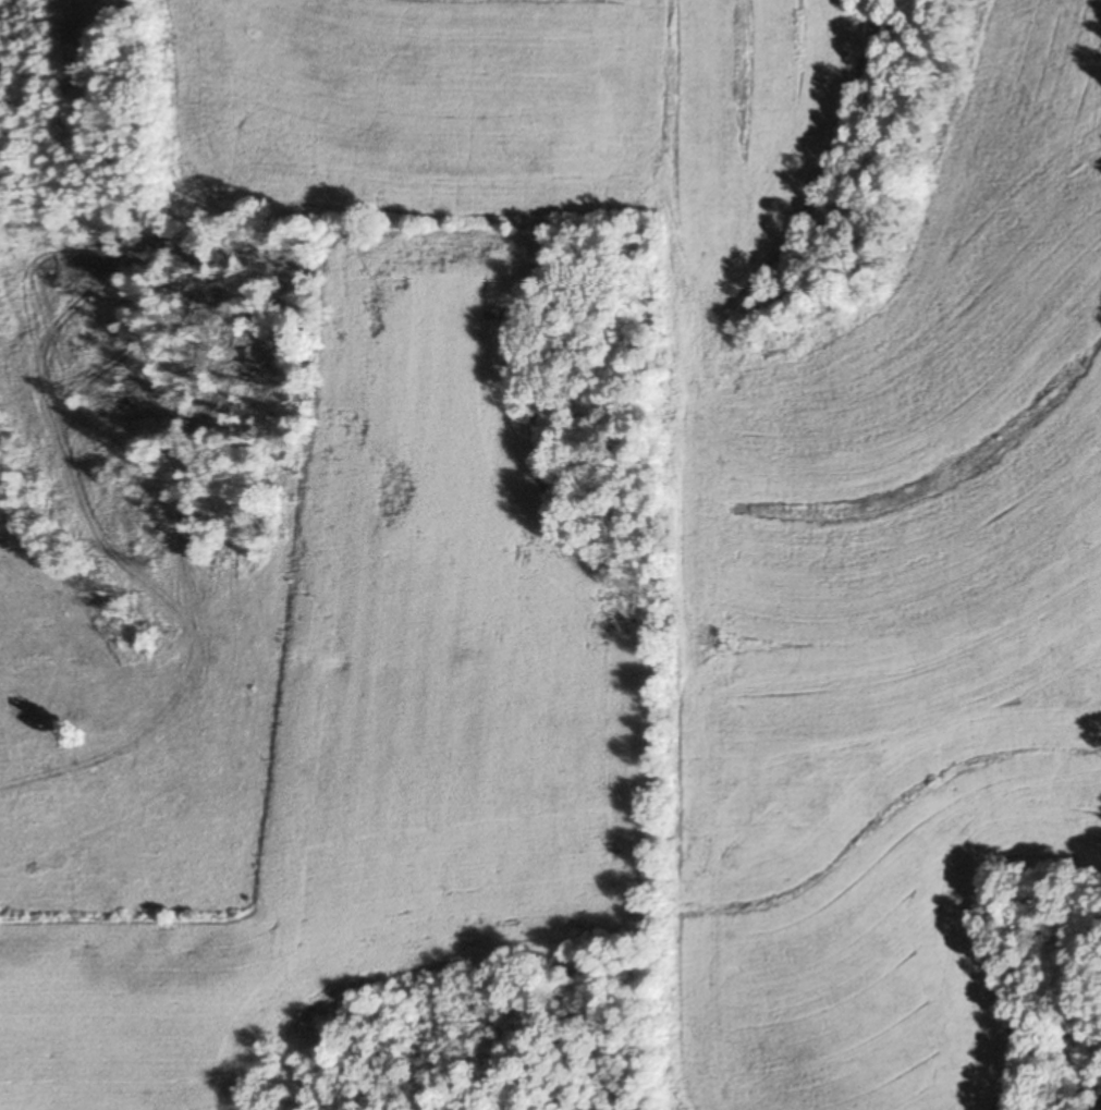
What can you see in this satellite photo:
crop: (525, 107)
crop: (383, 720)

